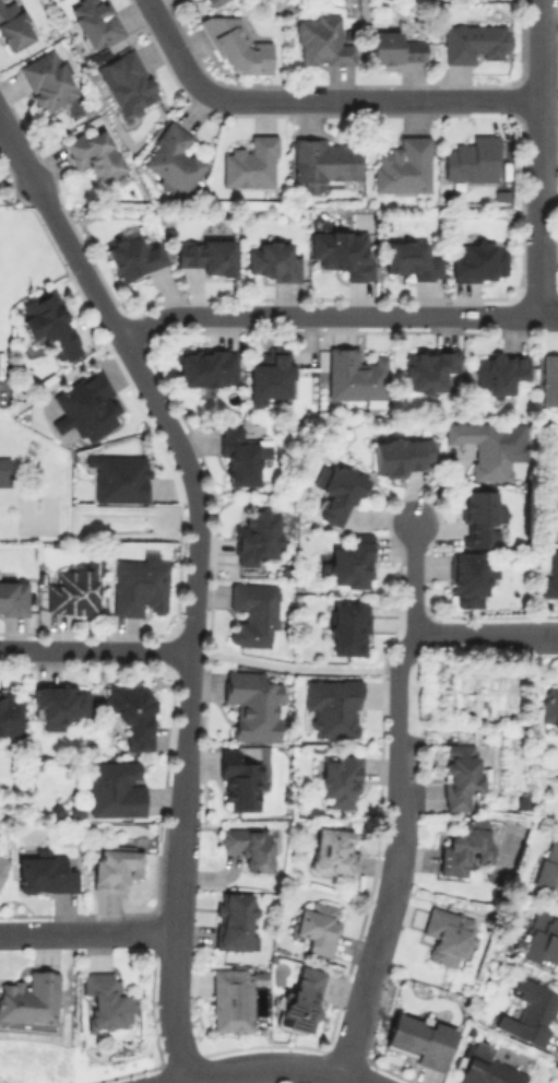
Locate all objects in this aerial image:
building: (213, 2)
building: (93, 22)
building: (12, 26)
building: (320, 40)
building: (473, 42)
building: (234, 46)
building: (393, 48)
road: (180, 59)
building: (47, 80)
building: (126, 82)
road: (385, 98)
building: (95, 153)
road: (538, 157)
building: (173, 160)
building: (472, 160)
building: (323, 161)
building: (250, 163)
building: (401, 165)
road: (61, 228)
building: (343, 251)
building: (206, 255)
building: (131, 256)
building: (411, 259)
building: (271, 260)
building: (478, 261)
road: (327, 314)
road: (547, 316)
building: (49, 322)
building: (205, 367)
building: (428, 368)
building: (498, 372)
building: (269, 375)
building: (355, 375)
building: (549, 378)
building: (85, 407)
road: (159, 415)
building: (482, 448)
building: (400, 454)
building: (238, 456)
building: (4, 470)
building: (118, 478)
building: (336, 491)
building: (554, 506)
building: (479, 516)
building: (256, 535)
building: (348, 562)
road: (413, 575)
building: (549, 577)
building: (468, 578)
building: (139, 586)
building: (74, 590)
building: (13, 597)
building: (251, 613)
building: (347, 628)
road: (486, 633)
road: (93, 654)
road: (186, 657)
road: (292, 668)
building: (59, 703)
building: (252, 704)
building: (333, 706)
building: (548, 707)
building: (130, 713)
building: (11, 714)
building: (458, 775)
building: (339, 779)
building: (237, 781)
building: (114, 788)
building: (248, 846)
building: (463, 846)
building: (332, 851)
road: (394, 852)
building: (3, 863)
building: (547, 864)
building: (114, 868)
building: (43, 873)
building: (235, 920)
building: (316, 926)
road: (87, 932)
building: (446, 935)
building: (541, 940)
road: (174, 952)
building: (231, 997)
building: (29, 998)
building: (301, 998)
building: (106, 1000)
building: (530, 1011)
building: (417, 1039)
road: (282, 1064)
building: (486, 1071)

